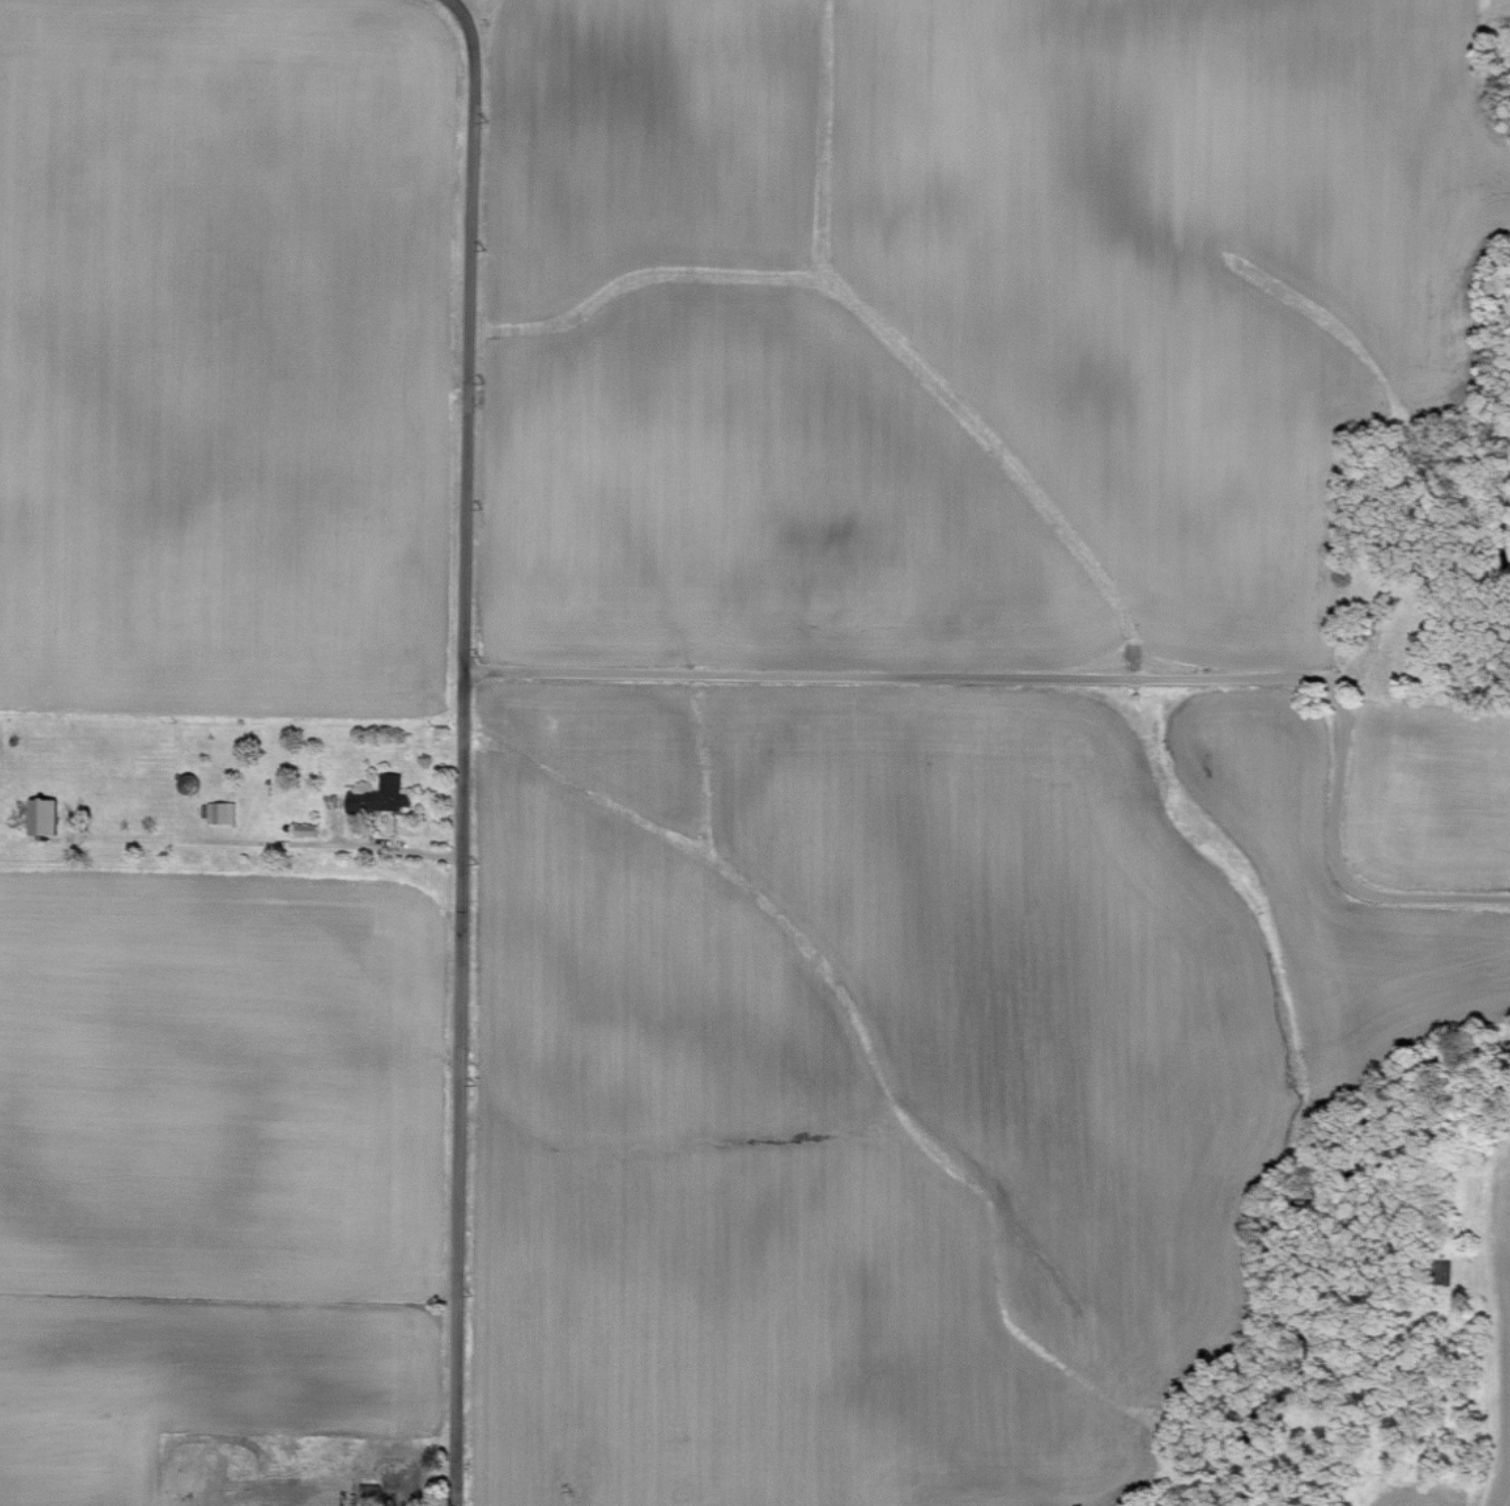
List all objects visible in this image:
road: (456, 1)
road: (1083, 679)
road: (466, 753)
building: (382, 795)

